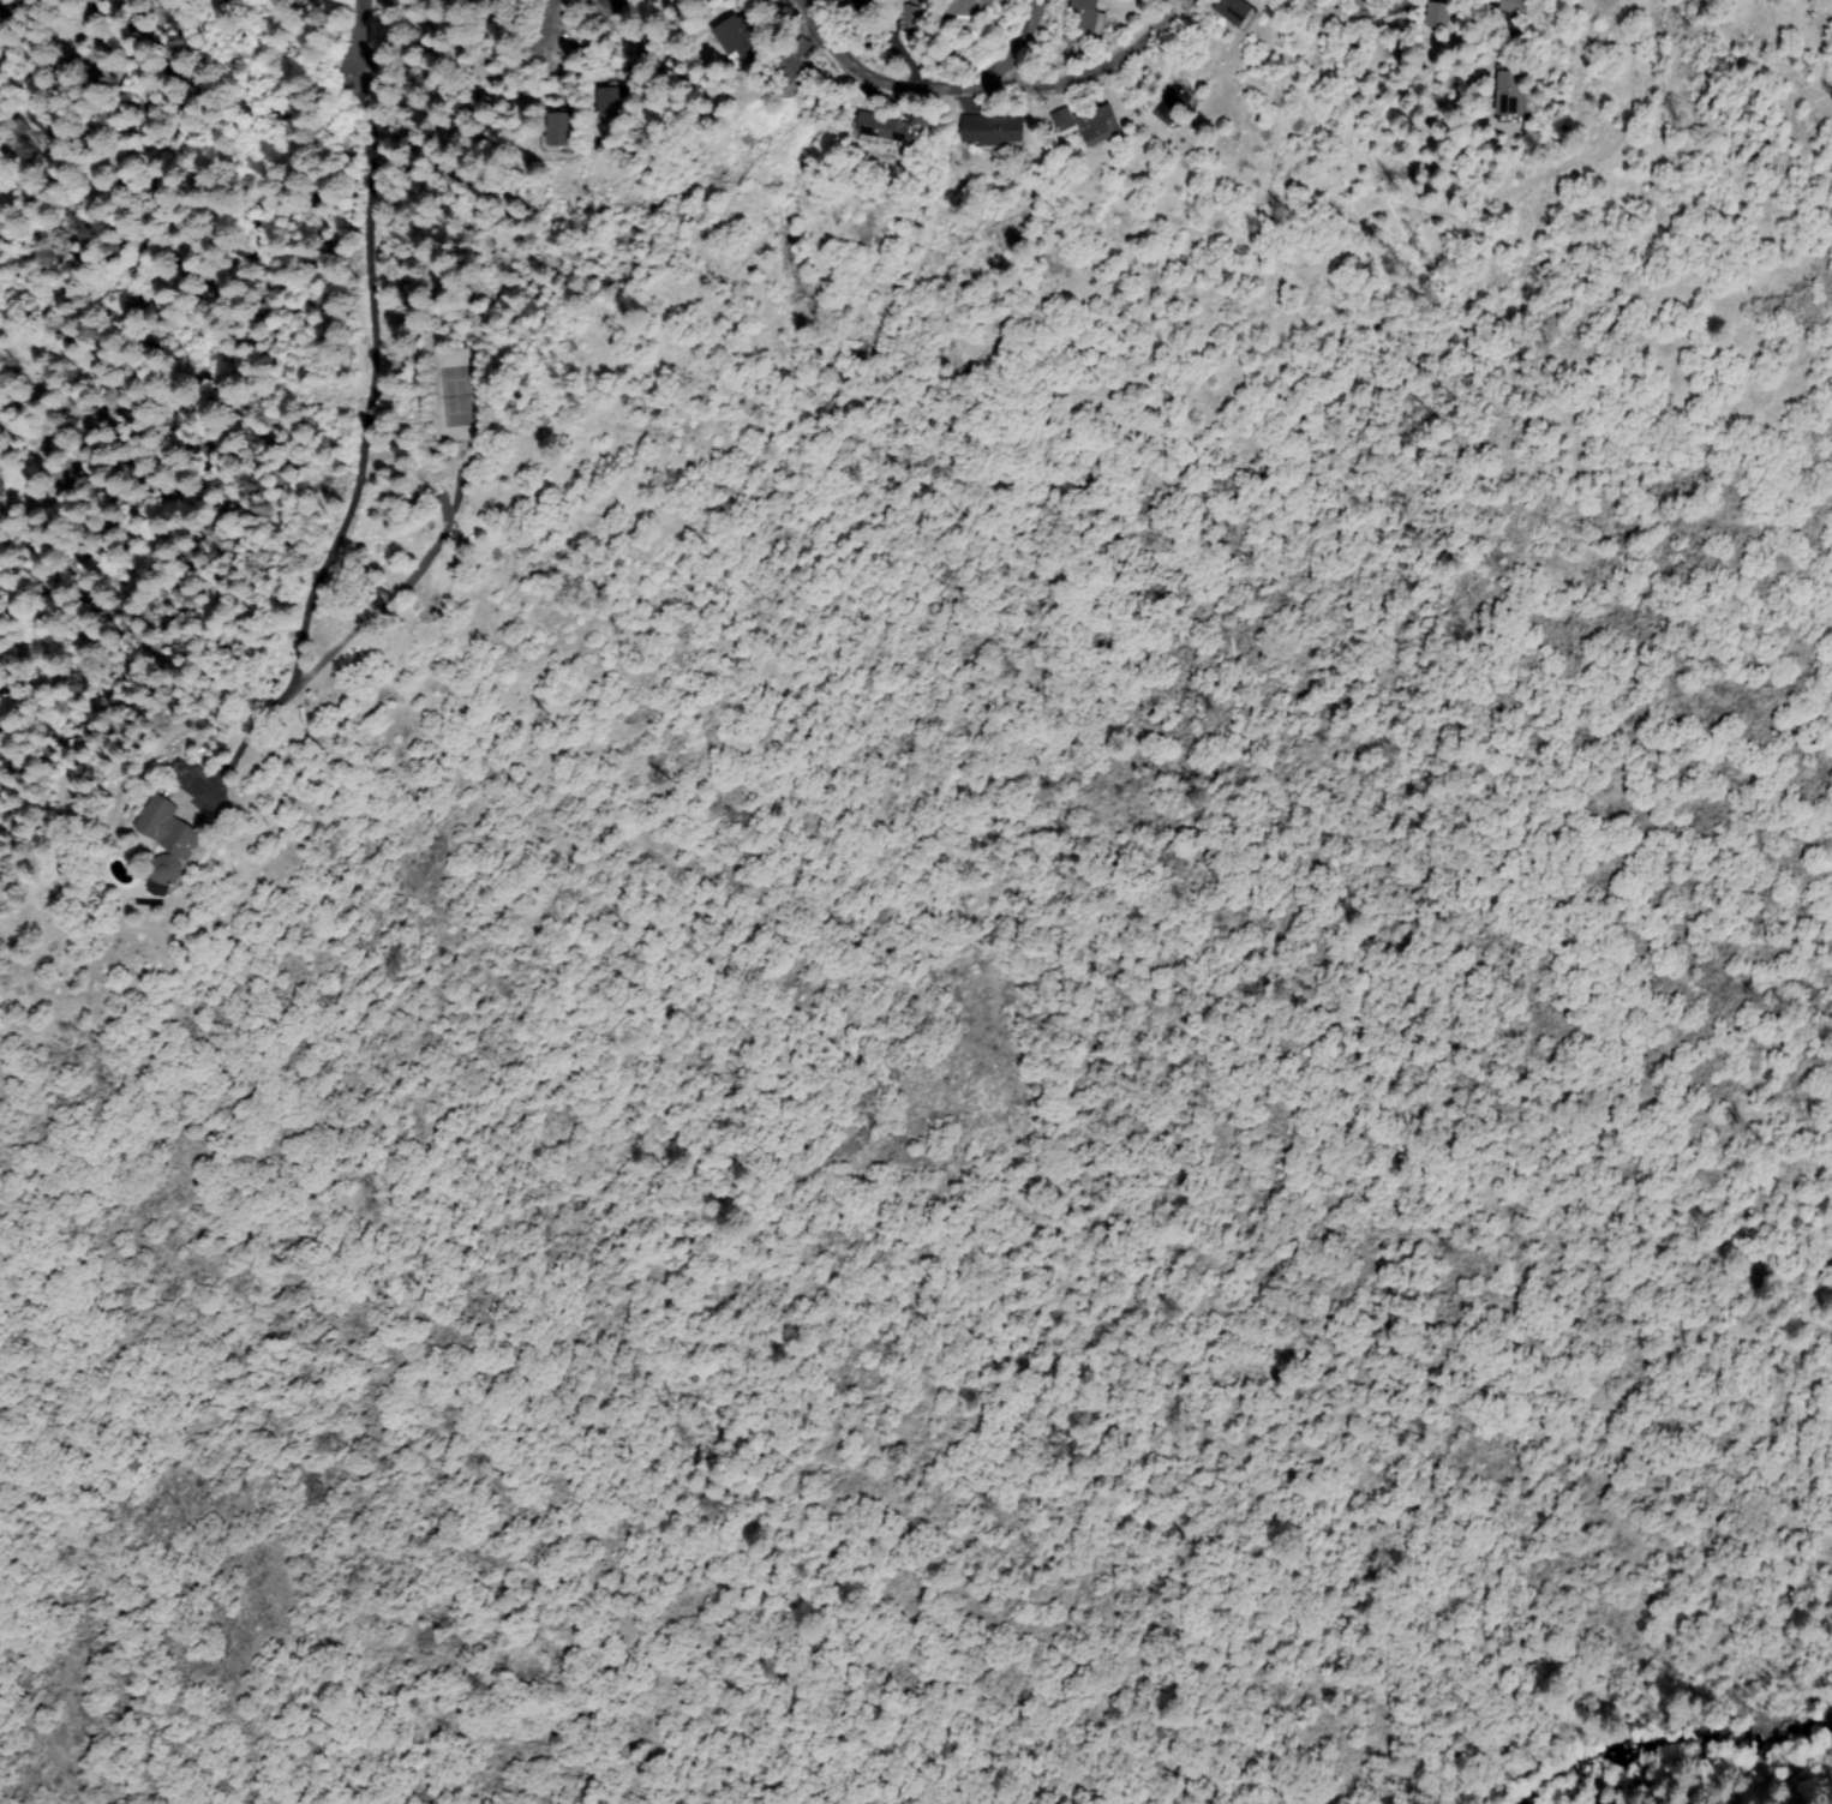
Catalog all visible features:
building: (849, 2)
building: (4, 4)
building: (610, 4)
building: (1510, 4)
building: (499, 6)
building: (963, 6)
building: (1367, 7)
building: (1235, 12)
building: (1439, 13)
building: (912, 16)
building: (1086, 22)
building: (738, 38)
road: (546, 41)
road: (1010, 41)
road: (341, 54)
road: (1092, 64)
building: (790, 70)
road: (873, 72)
building: (1510, 92)
building: (604, 101)
building: (1175, 104)
building: (922, 118)
building: (1089, 122)
building: (886, 127)
building: (556, 128)
building: (994, 128)
building: (167, 840)
river: (1704, 1746)

